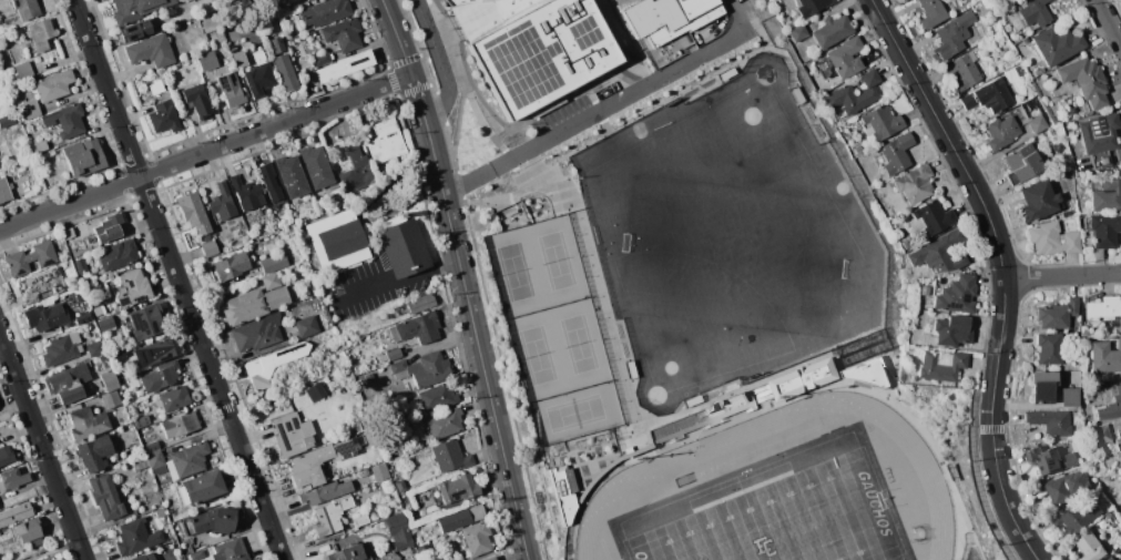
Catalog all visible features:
building: (307, 0)
building: (220, 4)
building: (807, 6)
building: (26, 8)
building: (139, 8)
building: (324, 12)
building: (931, 12)
building: (1033, 12)
road: (1104, 17)
building: (671, 18)
building: (139, 29)
building: (832, 31)
building: (797, 32)
building: (954, 33)
building: (41, 34)
building: (343, 34)
building: (287, 35)
road: (1118, 40)
building: (1027, 42)
building: (276, 44)
building: (1057, 44)
building: (532, 47)
building: (150, 50)
building: (261, 55)
building: (322, 59)
building: (842, 59)
building: (206, 61)
building: (344, 67)
road: (442, 68)
building: (23, 71)
building: (964, 71)
building: (1040, 71)
building: (285, 72)
building: (258, 79)
building: (1084, 81)
building: (53, 84)
building: (155, 86)
building: (230, 90)
building: (855, 94)
building: (989, 96)
building: (196, 100)
road: (605, 108)
building: (30, 110)
building: (163, 116)
building: (65, 119)
building: (7, 120)
building: (880, 123)
building: (1037, 123)
building: (57, 128)
building: (1001, 132)
building: (1099, 138)
building: (385, 141)
building: (39, 146)
building: (1057, 146)
building: (857, 150)
road: (204, 152)
building: (894, 154)
building: (83, 156)
building: (39, 157)
building: (1021, 163)
building: (317, 166)
building: (357, 170)
building: (292, 176)
building: (915, 184)
building: (272, 186)
building: (4, 190)
building: (247, 193)
building: (1107, 196)
building: (1038, 201)
building: (222, 202)
building: (193, 213)
building: (1069, 213)
building: (929, 218)
building: (109, 227)
building: (223, 227)
building: (1103, 230)
building: (68, 233)
park: (728, 237)
building: (1052, 238)
building: (336, 241)
building: (81, 244)
building: (906, 244)
building: (401, 246)
building: (208, 248)
building: (939, 253)
building: (118, 254)
building: (30, 258)
building: (274, 263)
building: (83, 265)
building: (230, 266)
road: (1001, 269)
road: (1102, 273)
road: (461, 277)
road: (1043, 277)
road: (176, 279)
building: (271, 281)
road: (395, 282)
building: (40, 285)
building: (132, 287)
building: (957, 295)
building: (79, 296)
building: (420, 304)
building: (253, 305)
building: (923, 305)
building: (1103, 308)
building: (99, 310)
building: (322, 312)
building: (1057, 314)
building: (48, 316)
building: (82, 318)
building: (145, 320)
building: (106, 324)
building: (306, 326)
building: (416, 328)
park: (552, 329)
building: (951, 330)
building: (1084, 332)
building: (258, 333)
building: (61, 348)
building: (94, 348)
building: (1048, 348)
building: (152, 353)
building: (120, 354)
building: (394, 354)
building: (1104, 357)
building: (104, 358)
building: (381, 358)
building: (940, 365)
building: (272, 366)
building: (399, 369)
building: (630, 369)
building: (427, 370)
building: (866, 373)
building: (160, 376)
building: (333, 378)
building: (368, 378)
building: (803, 378)
building: (109, 379)
building: (70, 383)
building: (1041, 387)
building: (315, 391)
building: (1070, 397)
building: (174, 398)
building: (435, 398)
building: (111, 399)
building: (693, 400)
building: (1110, 403)
building: (141, 421)
building: (1049, 421)
building: (85, 422)
building: (446, 424)
building: (180, 425)
building: (1100, 434)
building: (288, 435)
building: (1118, 442)
building: (149, 444)
road: (41, 449)
building: (399, 451)
building: (94, 454)
building: (6, 455)
building: (449, 456)
building: (1050, 459)
building: (186, 460)
building: (156, 462)
building: (140, 464)
building: (319, 464)
building: (365, 472)
building: (379, 472)
building: (1120, 472)
track: (632, 476)
building: (12, 478)
building: (400, 486)
building: (200, 487)
building: (1064, 487)
building: (454, 491)
building: (324, 492)
building: (562, 492)
building: (105, 497)
building: (160, 512)
building: (14, 513)
building: (129, 513)
building: (330, 515)
building: (1079, 516)
building: (460, 518)
park: (783, 519)
building: (360, 520)
building: (210, 521)
building: (157, 523)
building: (29, 531)
building: (399, 531)
building: (135, 536)
building: (477, 538)
building: (1091, 547)
building: (230, 550)
building: (348, 552)
building: (195, 554)
building: (137, 557)
building: (47, 558)
building: (489, 558)
building: (452, 559)
building: (1111, 559)
building: (1120, 559)

